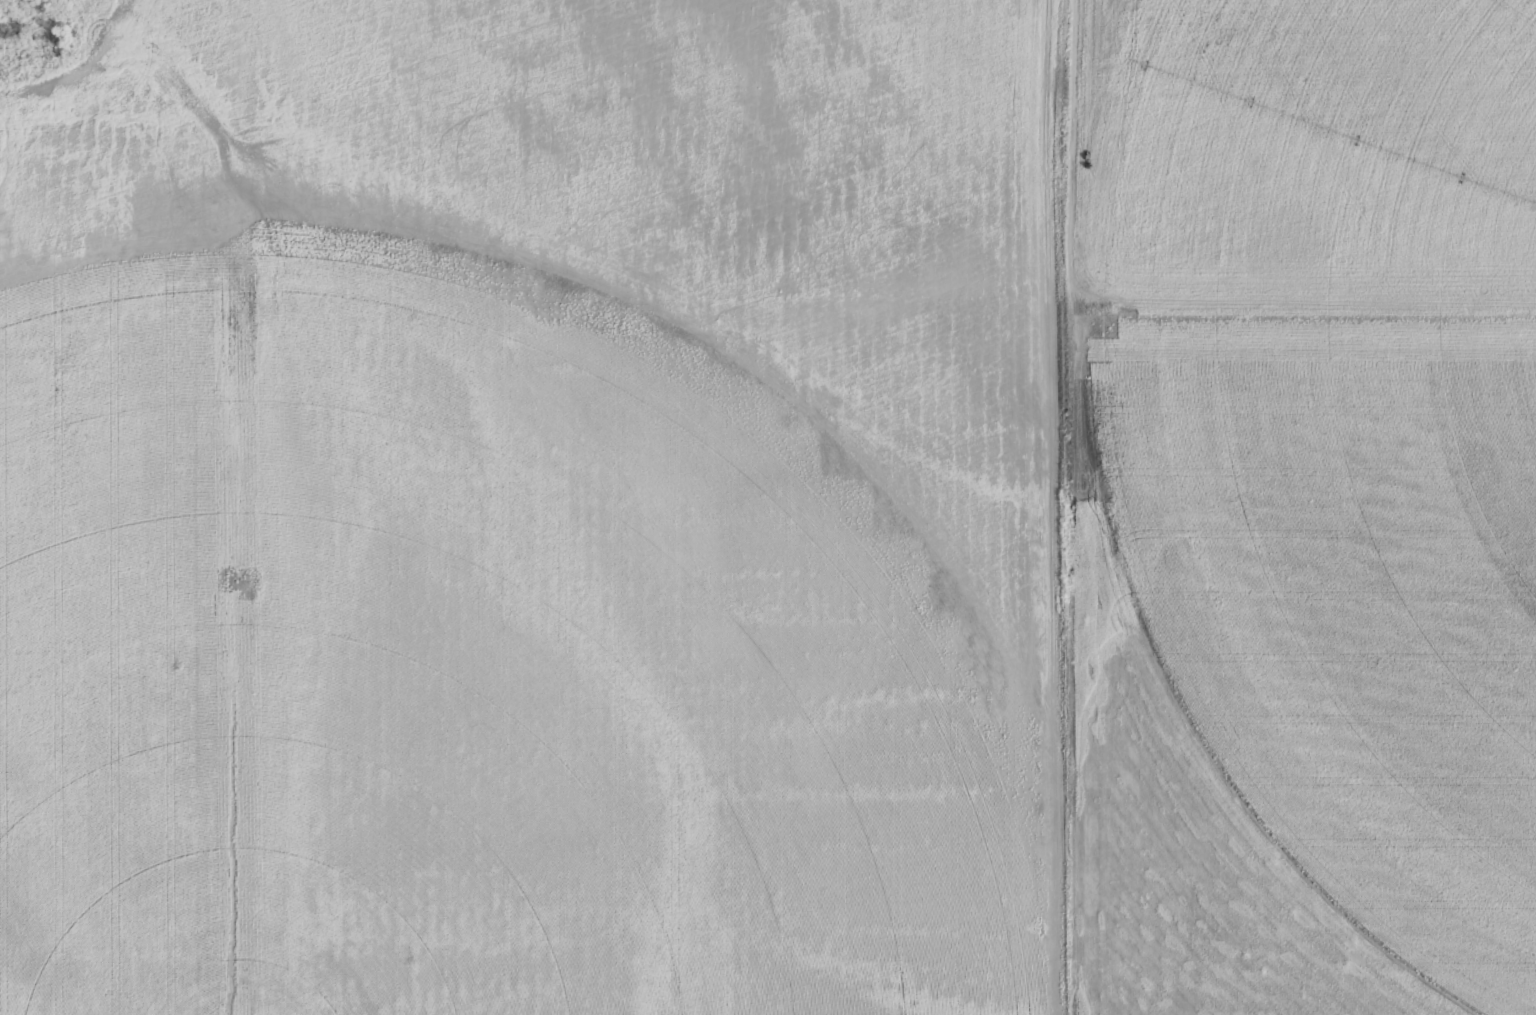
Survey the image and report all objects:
road: (1057, 507)

